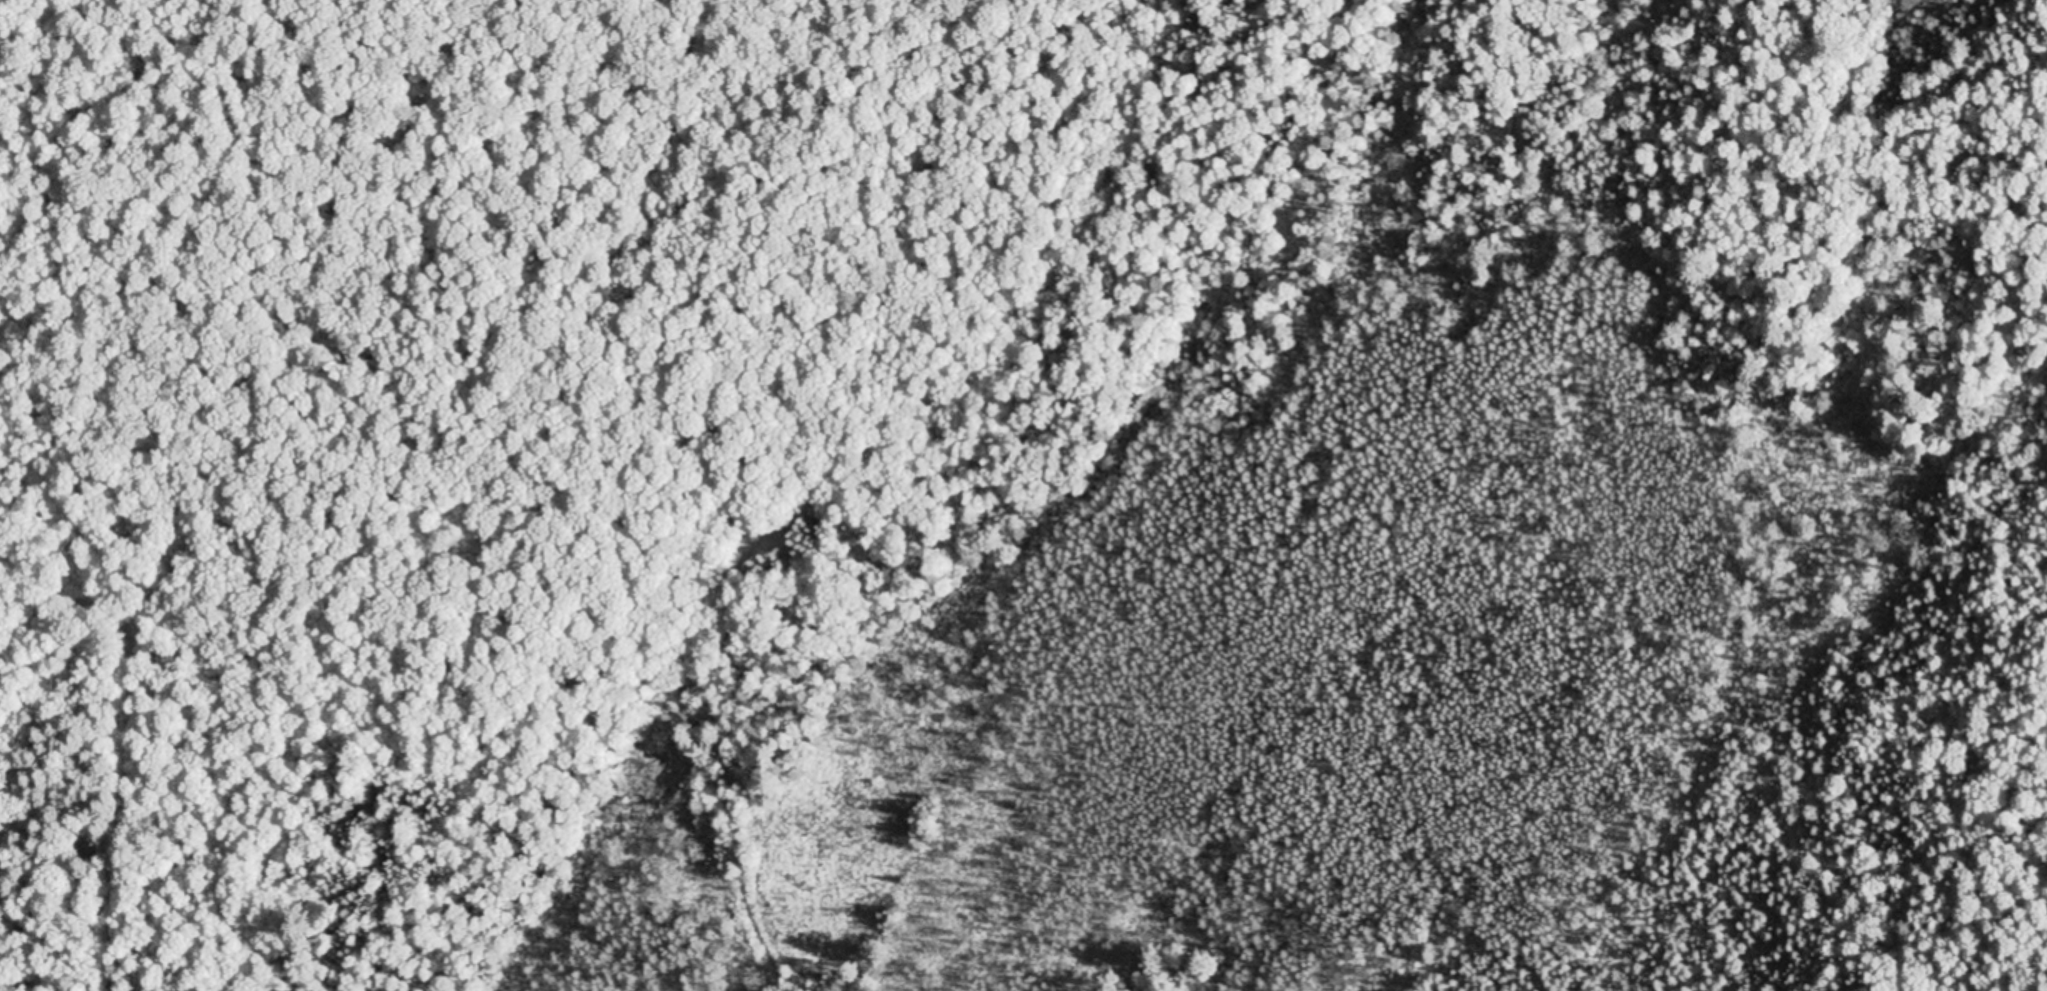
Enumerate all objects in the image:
building: (778, 533)
road: (703, 755)

